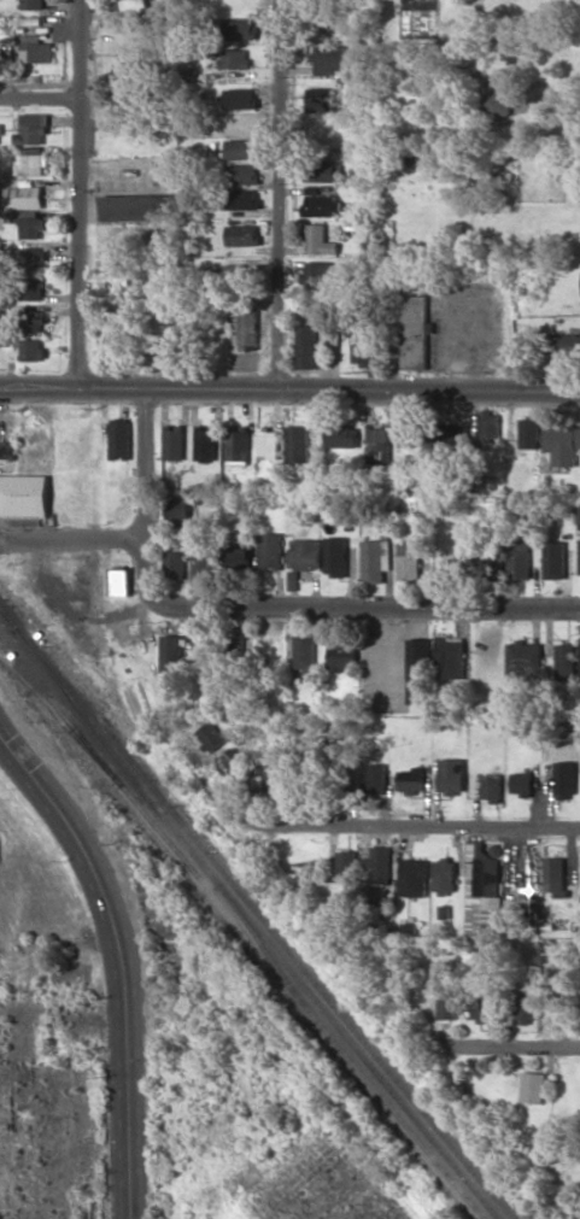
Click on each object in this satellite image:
building: (33, 4)
building: (128, 5)
building: (238, 28)
building: (37, 48)
building: (234, 58)
building: (332, 59)
building: (122, 74)
building: (240, 98)
road: (40, 99)
building: (323, 99)
building: (498, 104)
building: (35, 128)
building: (241, 148)
building: (31, 164)
building: (323, 170)
building: (572, 170)
building: (242, 174)
road: (80, 193)
road: (281, 195)
building: (25, 197)
building: (244, 198)
building: (321, 205)
building: (135, 207)
building: (30, 223)
building: (242, 234)
building: (321, 240)
building: (33, 258)
building: (235, 274)
building: (320, 275)
building: (33, 288)
building: (31, 321)
building: (250, 328)
building: (416, 332)
building: (116, 333)
building: (562, 344)
building: (307, 346)
building: (33, 350)
building: (365, 351)
road: (289, 391)
building: (490, 423)
building: (531, 432)
building: (342, 435)
building: (408, 435)
building: (121, 438)
building: (174, 441)
building: (206, 441)
building: (239, 443)
building: (269, 443)
building: (298, 443)
building: (377, 444)
building: (563, 444)
building: (7, 449)
road: (146, 467)
building: (24, 494)
building: (178, 512)
road: (72, 539)
building: (271, 550)
building: (239, 556)
building: (336, 556)
building: (409, 556)
building: (203, 557)
building: (303, 557)
building: (375, 558)
building: (555, 559)
building: (175, 563)
building: (485, 564)
building: (119, 580)
road: (338, 605)
railway: (7, 619)
building: (305, 650)
building: (171, 652)
building: (342, 656)
building: (450, 656)
building: (523, 661)
building: (564, 661)
building: (418, 670)
building: (211, 735)
building: (233, 762)
building: (451, 775)
building: (376, 778)
building: (566, 778)
building: (412, 779)
building: (521, 783)
building: (491, 787)
road: (411, 825)
railway: (170, 846)
building: (344, 866)
building: (377, 866)
building: (484, 867)
building: (445, 874)
building: (555, 875)
building: (414, 877)
building: (485, 915)
railway: (262, 922)
railway: (251, 926)
railway: (260, 942)
road: (117, 962)
building: (450, 1007)
building: (526, 1007)
building: (479, 1008)
road: (523, 1047)
building: (534, 1086)
railway: (389, 1110)

